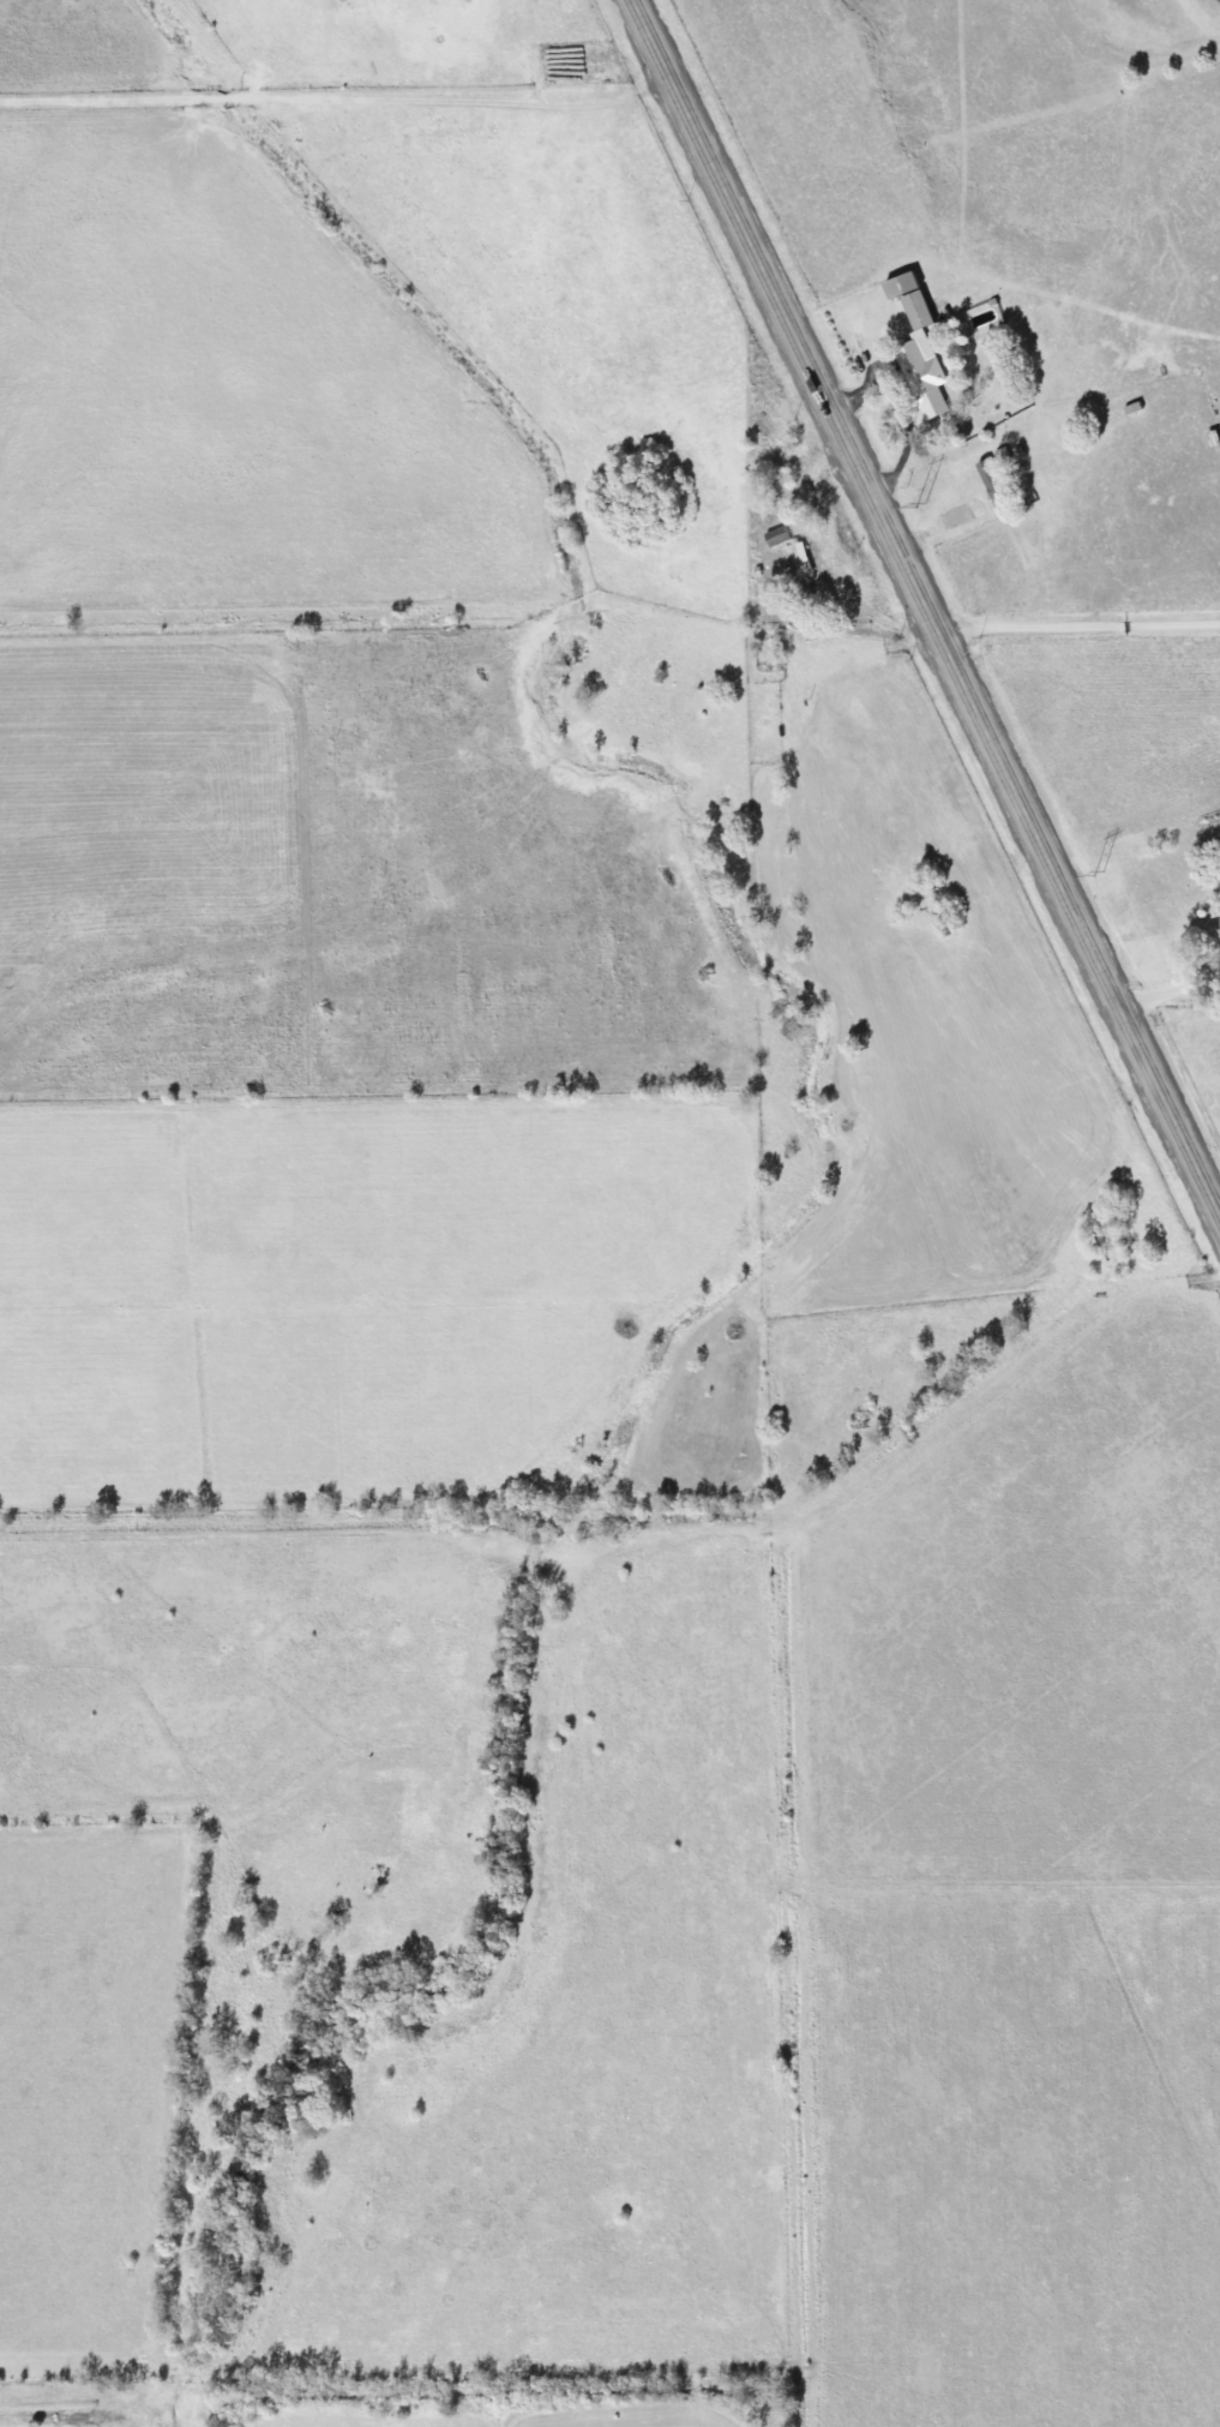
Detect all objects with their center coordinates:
building: (911, 346)
road: (896, 409)
building: (974, 489)
power tower: (920, 505)
building: (769, 535)
building: (792, 567)
road: (925, 609)
road: (1076, 623)
power tower: (1099, 873)
road: (1165, 984)

